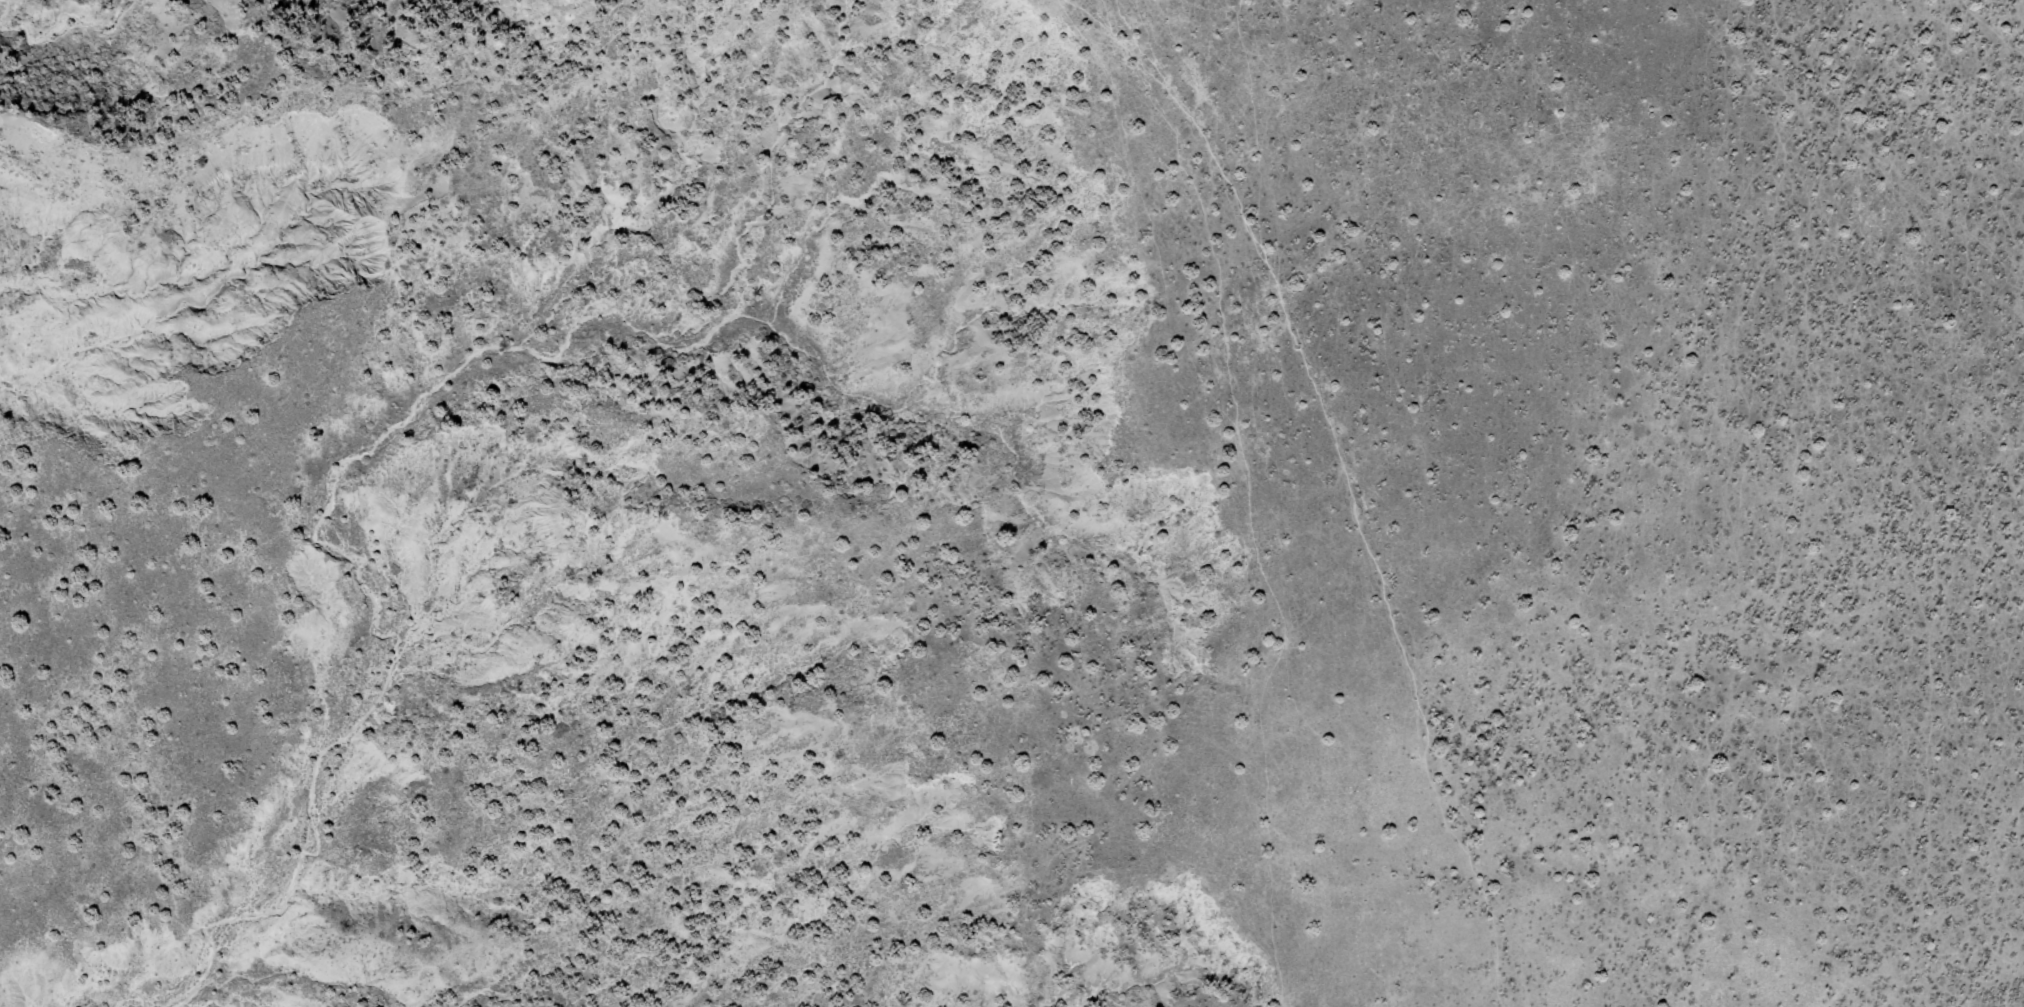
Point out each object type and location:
road: (1847, 138)

